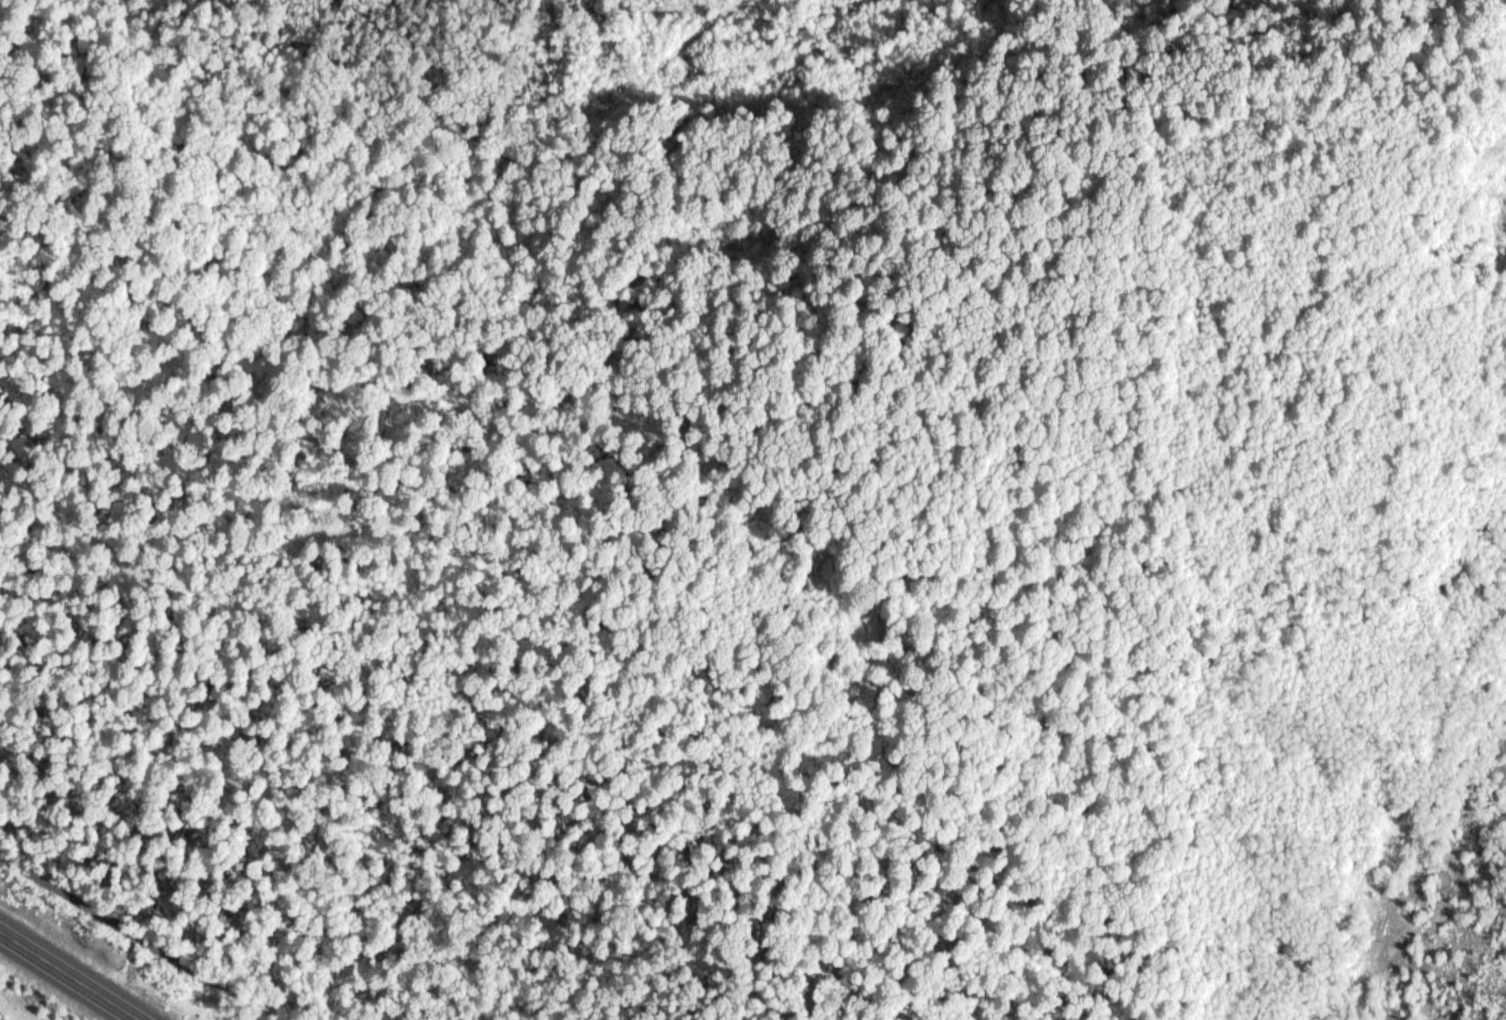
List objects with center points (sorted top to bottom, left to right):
road: (71, 974)

